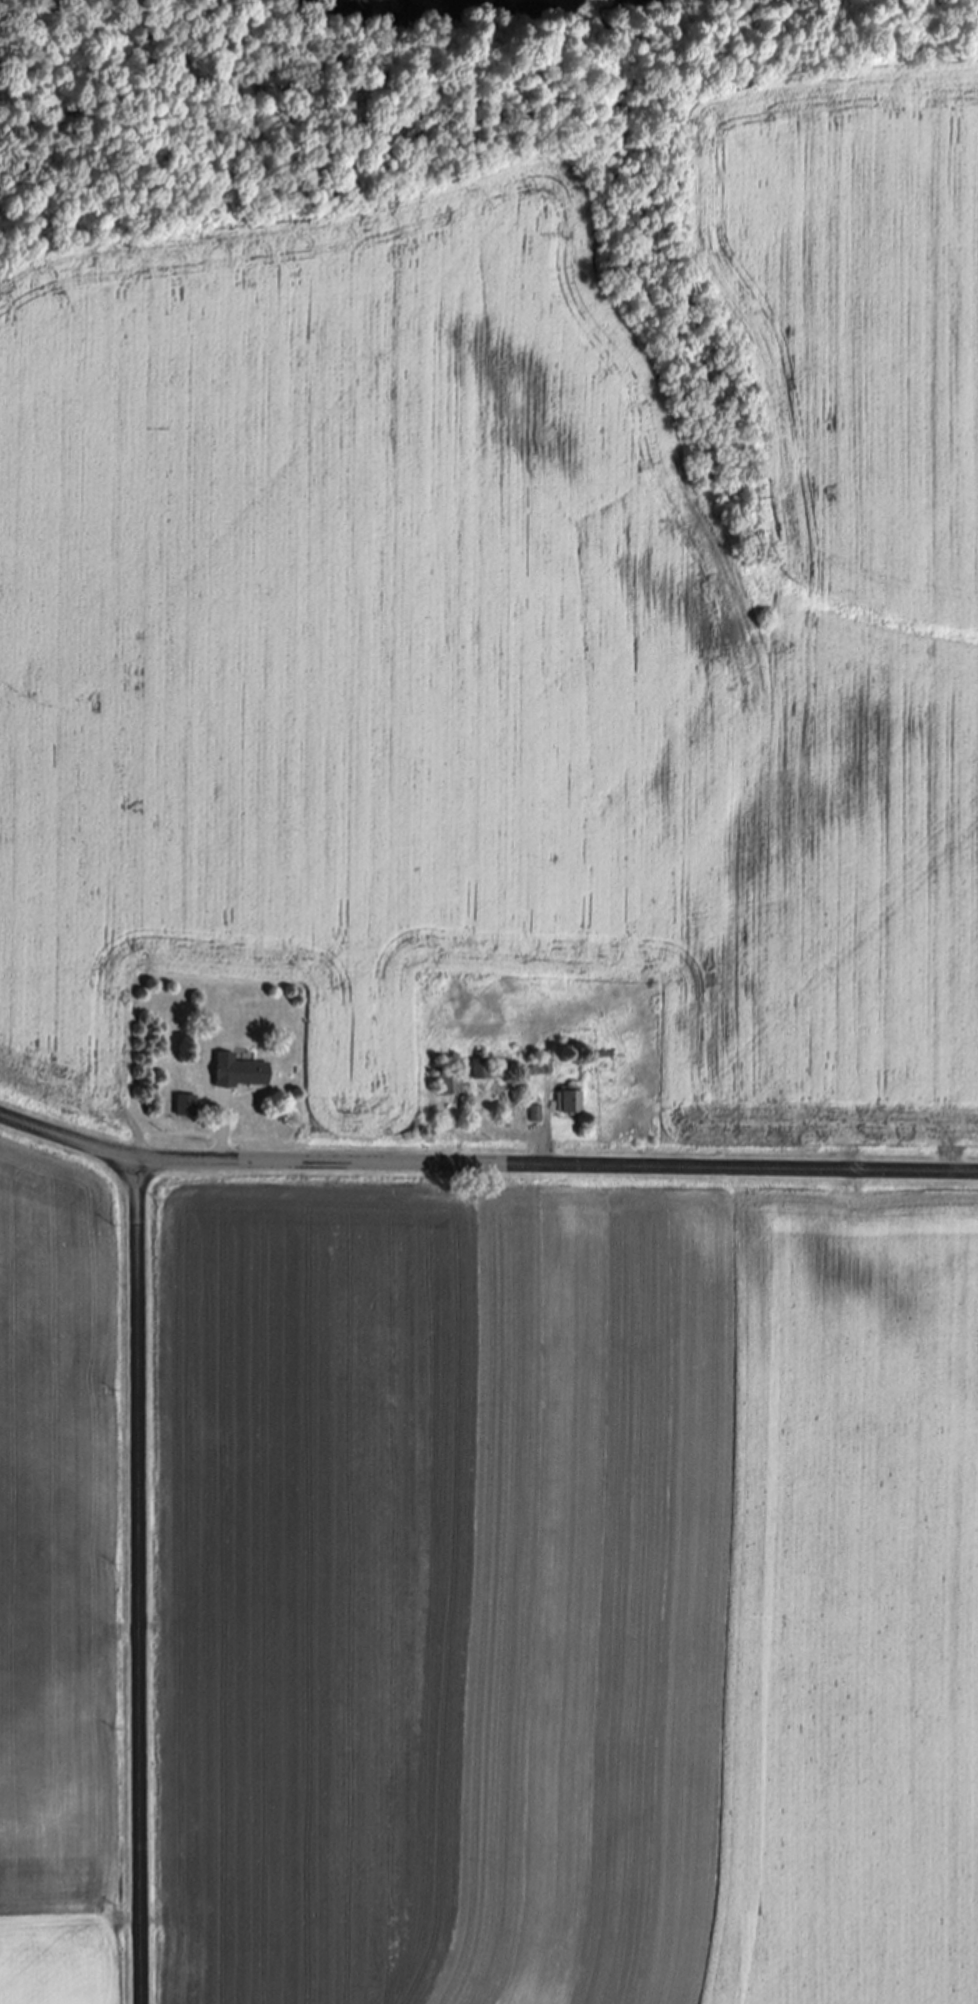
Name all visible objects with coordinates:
building: (240, 1072)
building: (569, 1102)
building: (186, 1105)
building: (534, 1114)
road: (219, 1132)
road: (544, 1146)
road: (485, 1164)
road: (135, 1582)

